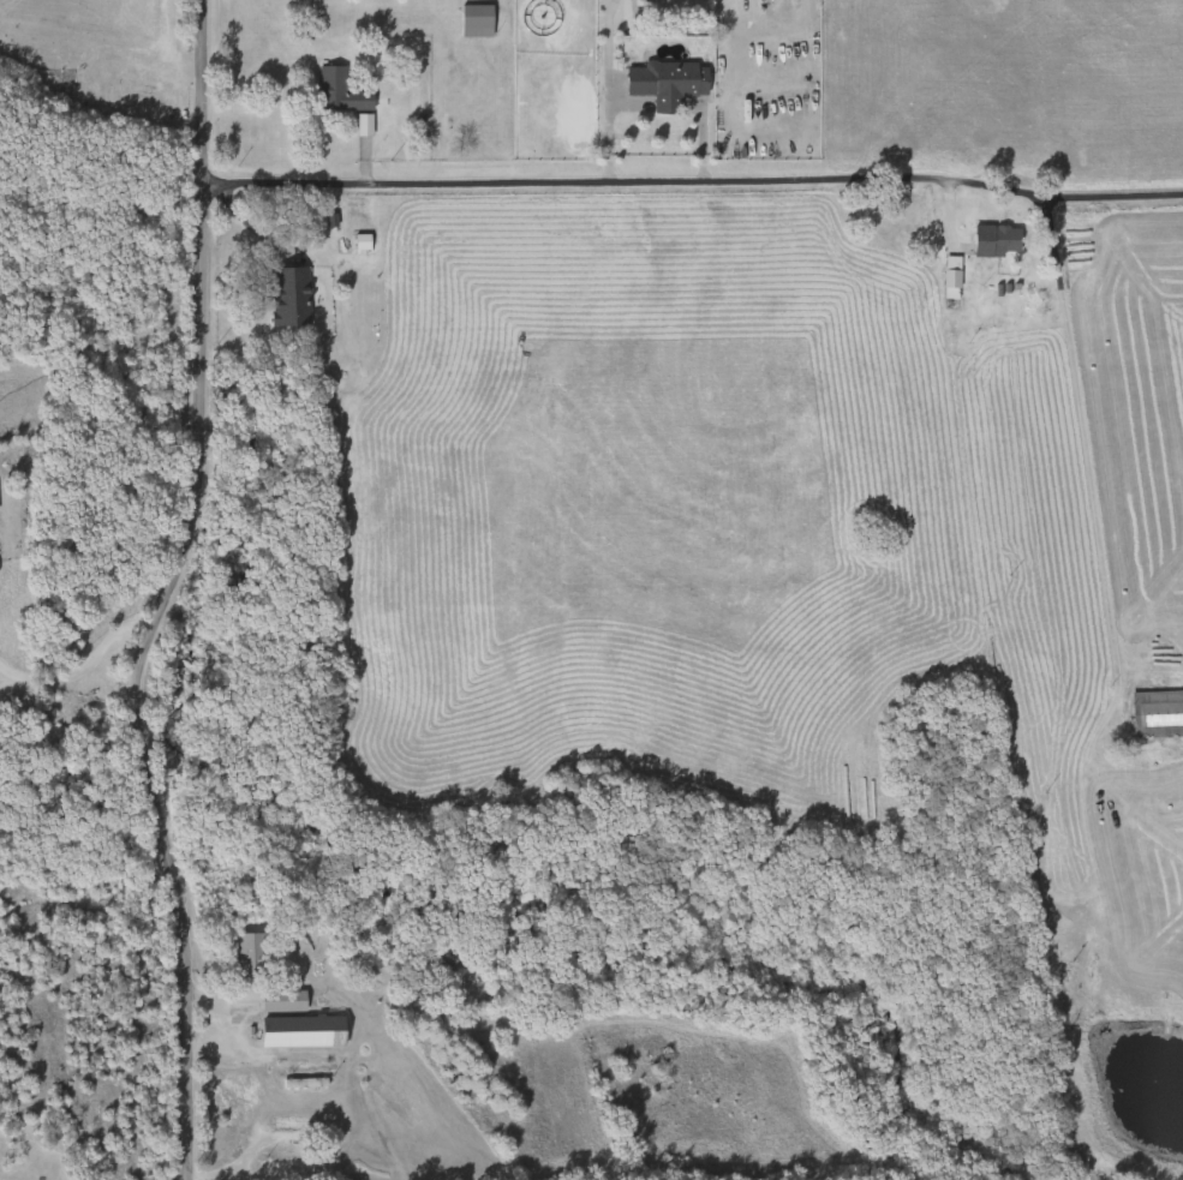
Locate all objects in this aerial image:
building: (472, 20)
road: (608, 41)
building: (662, 83)
building: (336, 91)
road: (692, 167)
building: (992, 239)
building: (949, 276)
building: (286, 297)
road: (1082, 456)
road: (163, 593)
road: (79, 670)
building: (1155, 712)
building: (247, 954)
building: (279, 1000)
road: (220, 1024)
building: (299, 1031)
building: (300, 1083)
building: (279, 1167)

